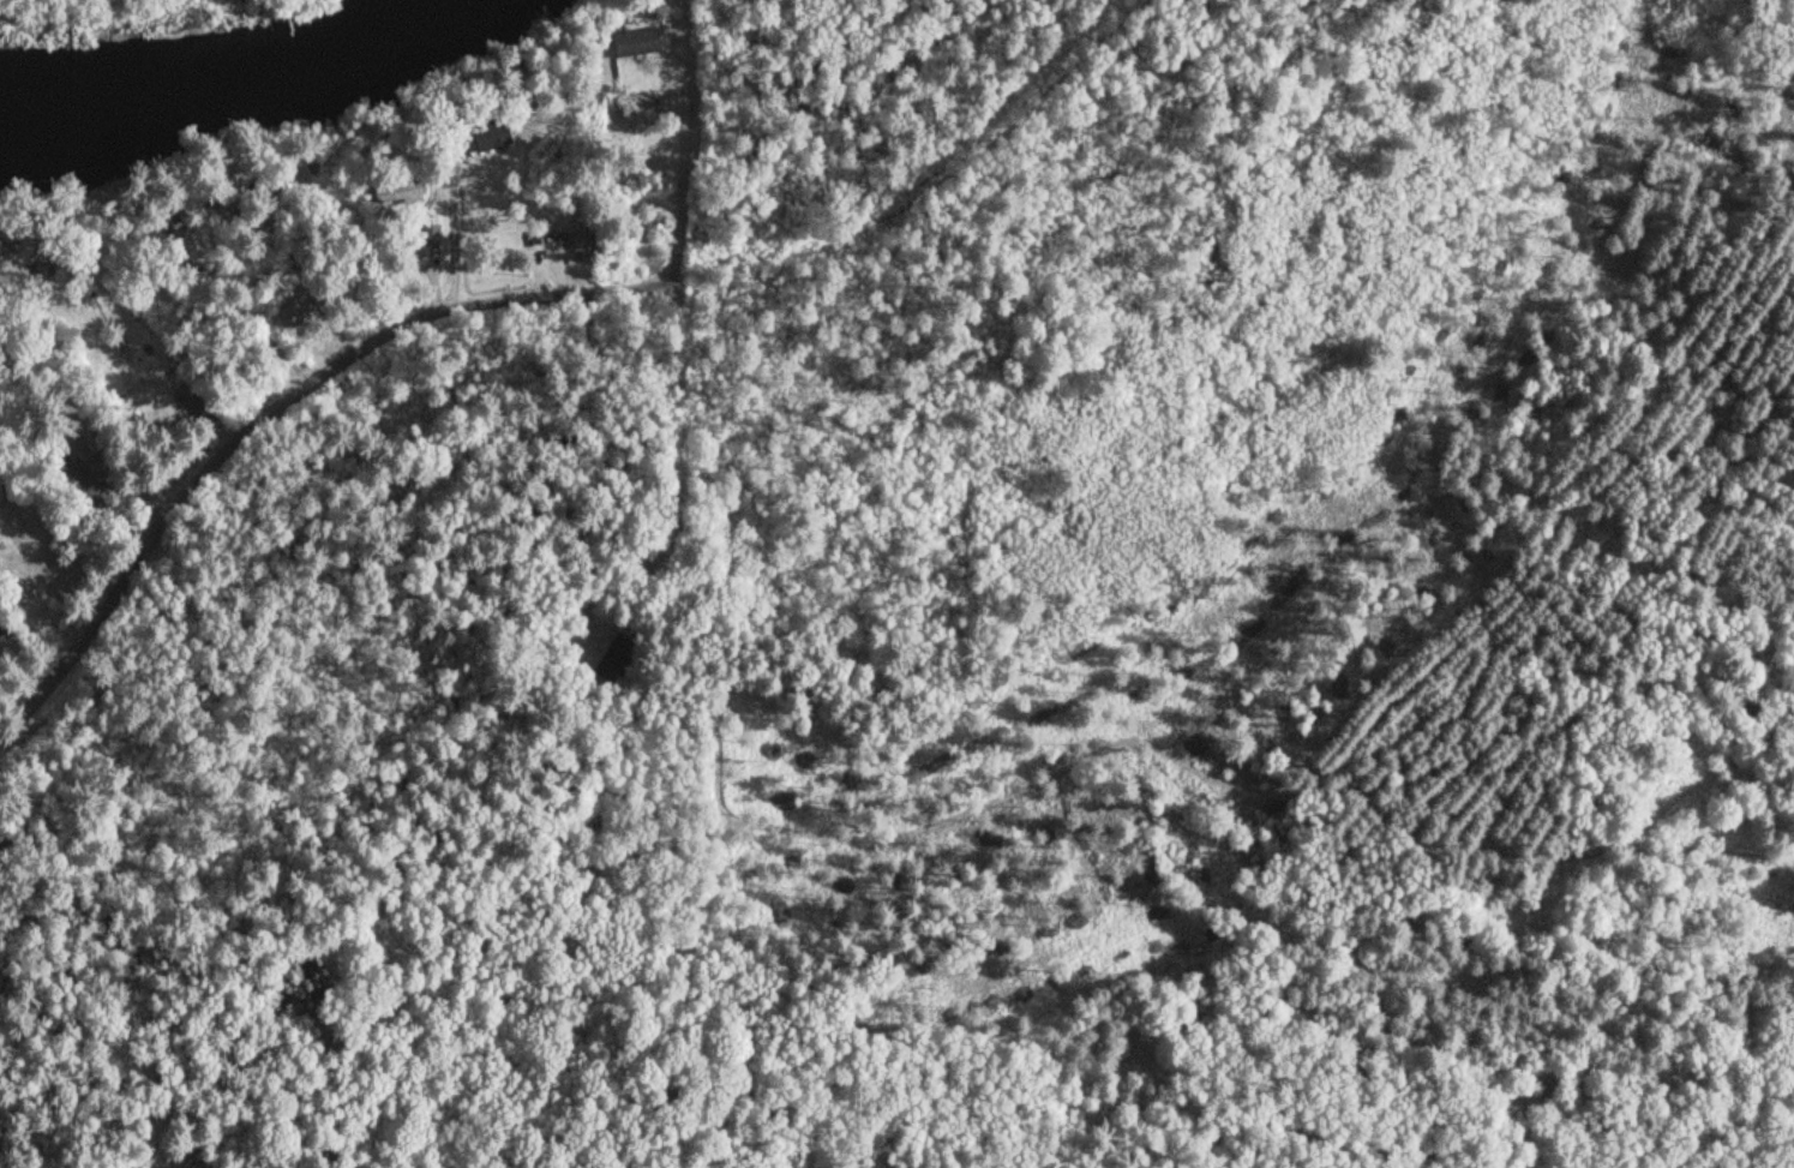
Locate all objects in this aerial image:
building: (636, 38)
river: (236, 79)
building: (490, 134)
building: (408, 187)
building: (233, 188)
building: (431, 232)
building: (580, 238)
road: (330, 415)
building: (0, 502)

